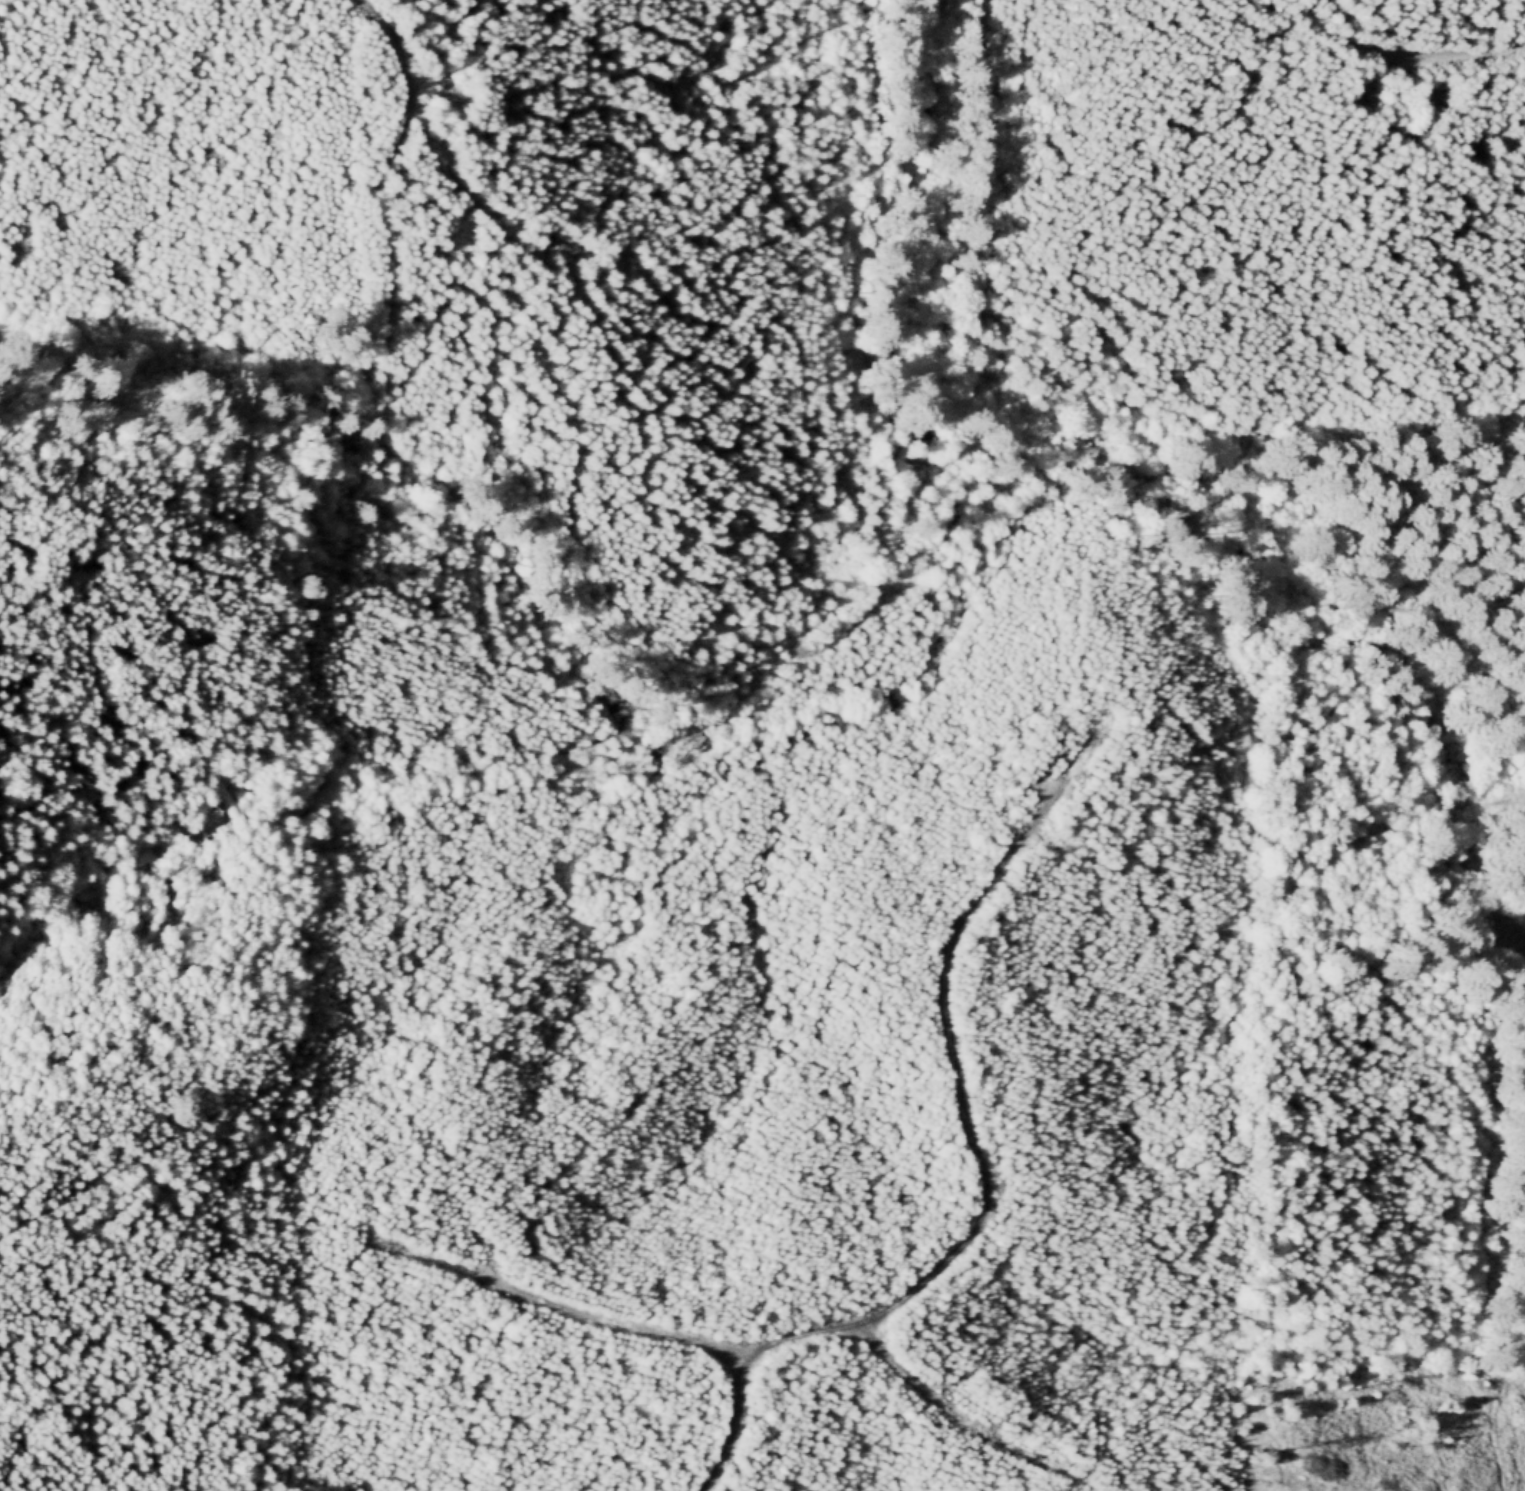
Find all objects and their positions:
road: (1387, 49)
road: (407, 79)
road: (41, 553)
road: (1394, 580)
road: (981, 1170)
road: (46, 1220)
road: (565, 1310)
road: (1518, 1373)
road: (937, 1402)
road: (52, 1446)

